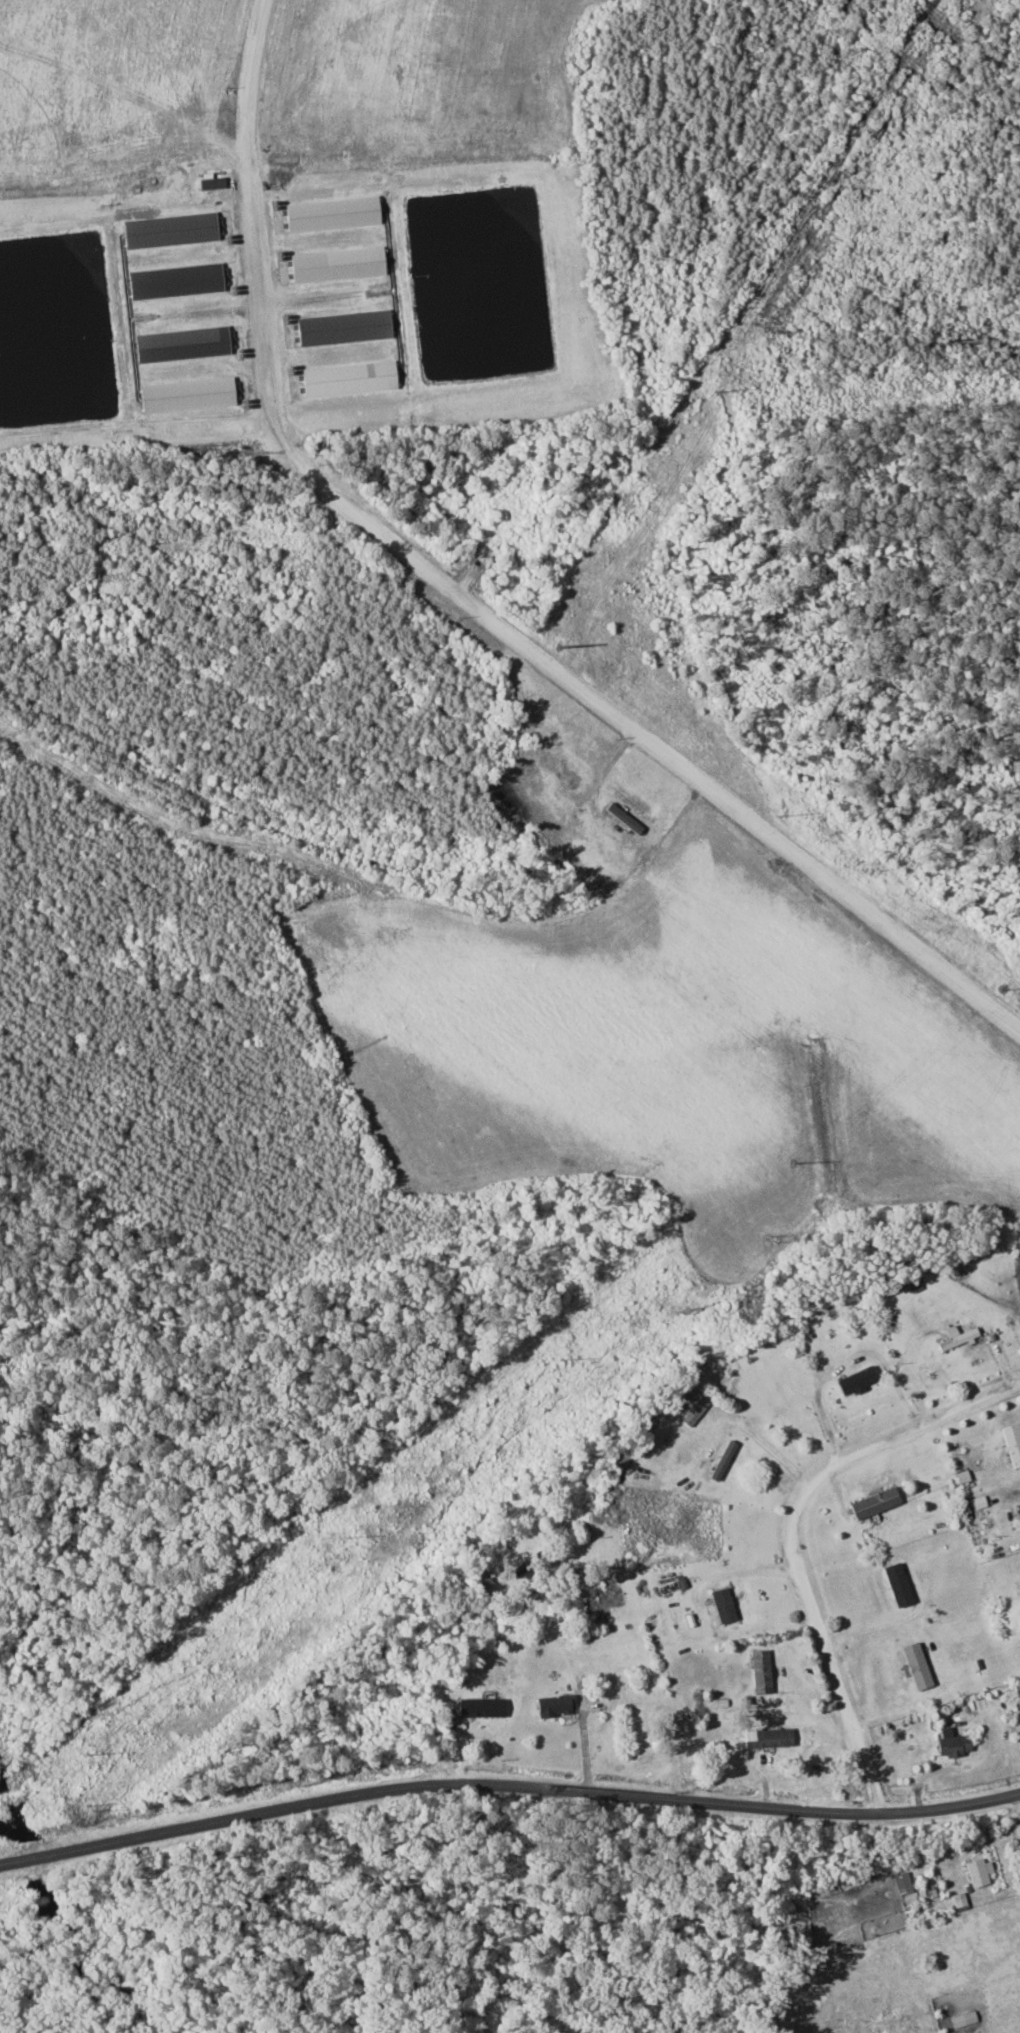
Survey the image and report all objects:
power tower: (930, 44)
building: (330, 213)
building: (167, 230)
building: (335, 264)
building: (173, 281)
building: (342, 327)
building: (180, 344)
building: (347, 378)
power tower: (715, 392)
building: (185, 395)
road: (471, 604)
power tower: (563, 648)
power tower: (781, 817)
power tower: (1003, 988)
power tower: (795, 1163)
power tower: (770, 1238)
building: (913, 1283)
building: (955, 1336)
power tower: (560, 1359)
building: (854, 1380)
building: (691, 1406)
building: (1012, 1442)
building: (721, 1459)
building: (873, 1502)
power tower: (418, 1535)
road: (795, 1536)
power tower: (344, 1539)
building: (896, 1584)
building: (721, 1604)
building: (915, 1666)
building: (759, 1671)
building: (553, 1705)
building: (479, 1707)
building: (767, 1737)
building: (951, 1744)
power tower: (88, 1756)
road: (507, 1783)
road: (1019, 1795)
power tower: (90, 1805)
building: (978, 1871)
building: (902, 1882)
building: (958, 1899)
building: (963, 2019)

